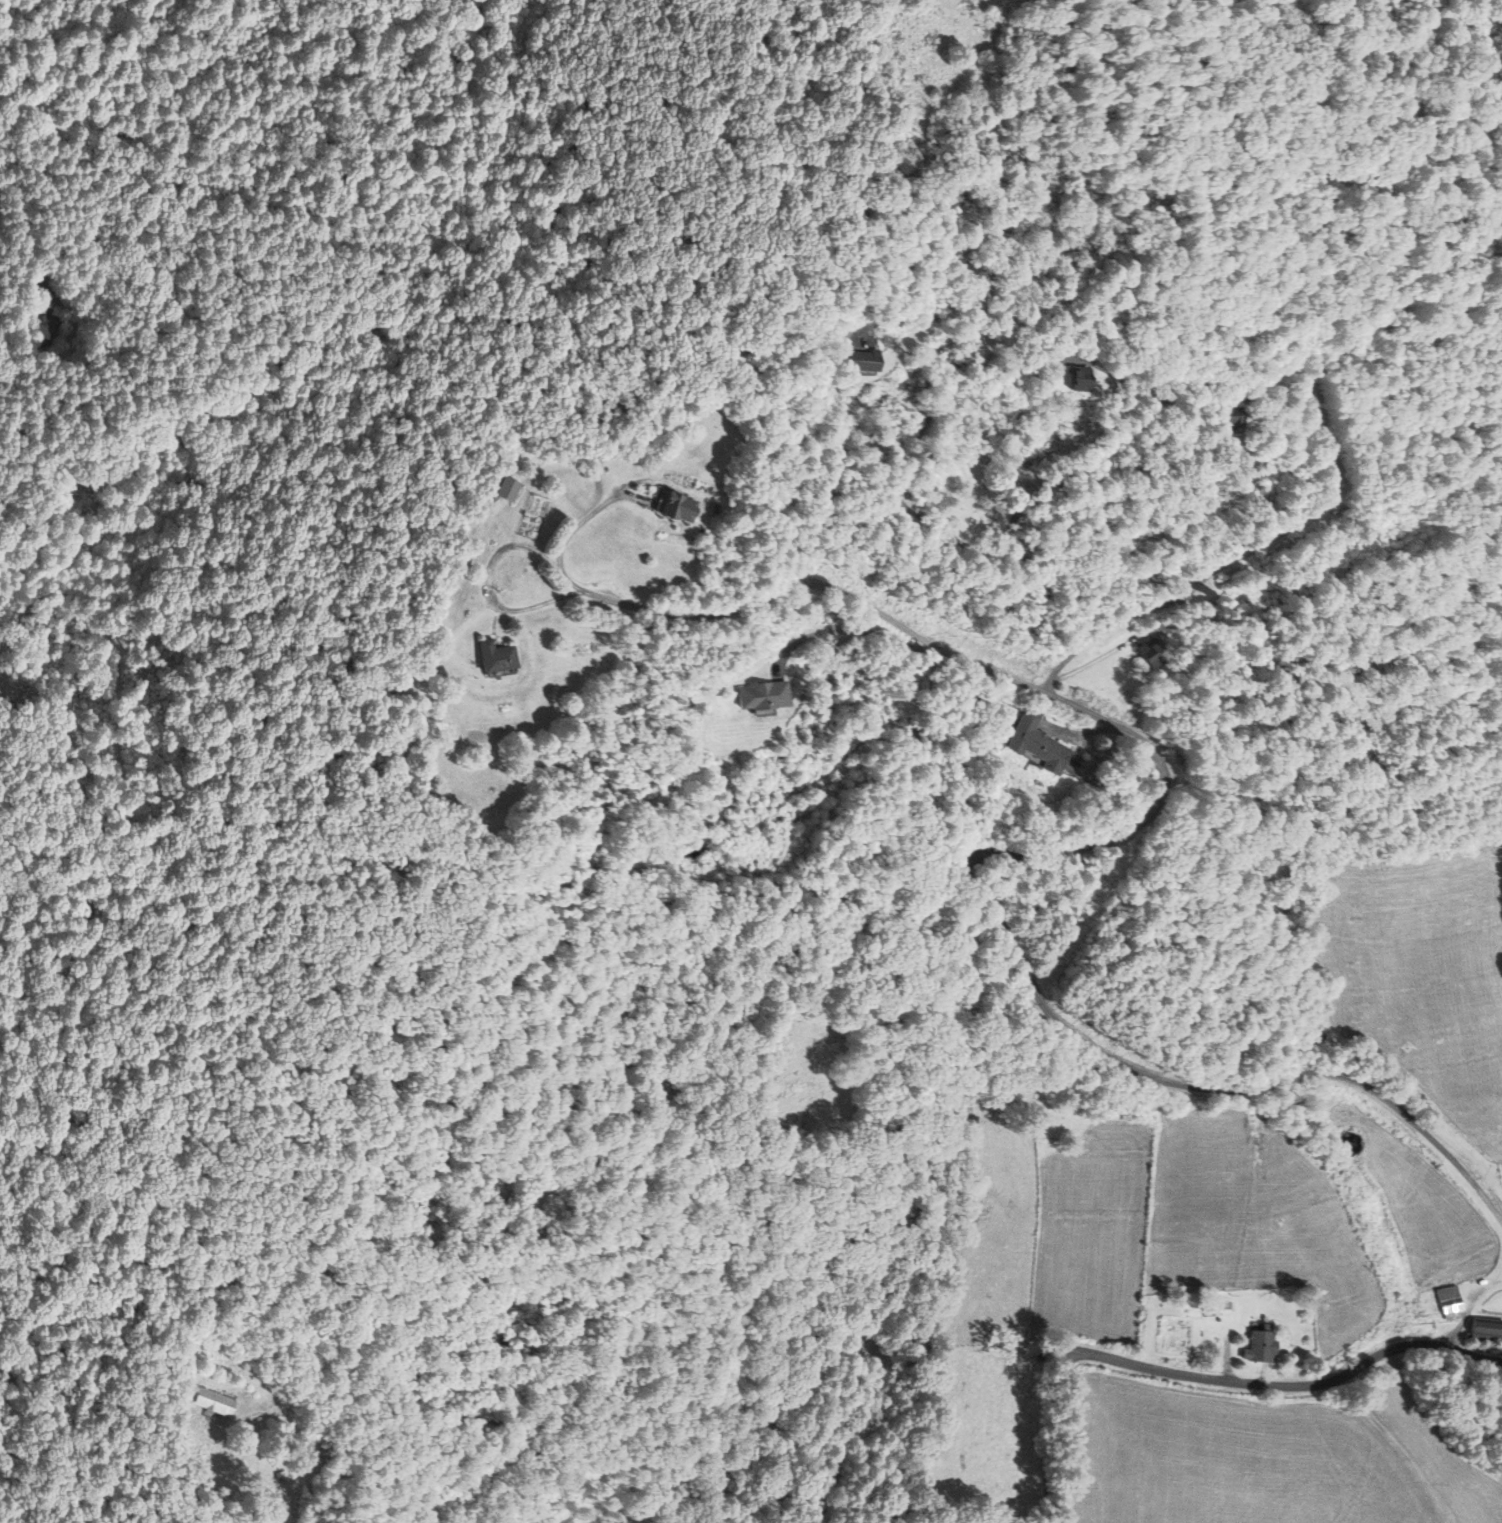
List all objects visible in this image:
building: (42, 325)
building: (866, 359)
building: (1075, 376)
building: (1085, 377)
building: (1234, 419)
building: (506, 489)
building: (675, 507)
road: (583, 519)
road: (1047, 567)
road: (487, 583)
building: (1150, 653)
building: (497, 656)
building: (767, 695)
building: (1037, 743)
road: (1053, 851)
building: (1142, 1103)
building: (1448, 1300)
building: (1486, 1333)
building: (1256, 1344)
road: (1228, 1356)
road: (1286, 1385)
building: (218, 1403)
road: (314, 1447)
road: (923, 1518)

